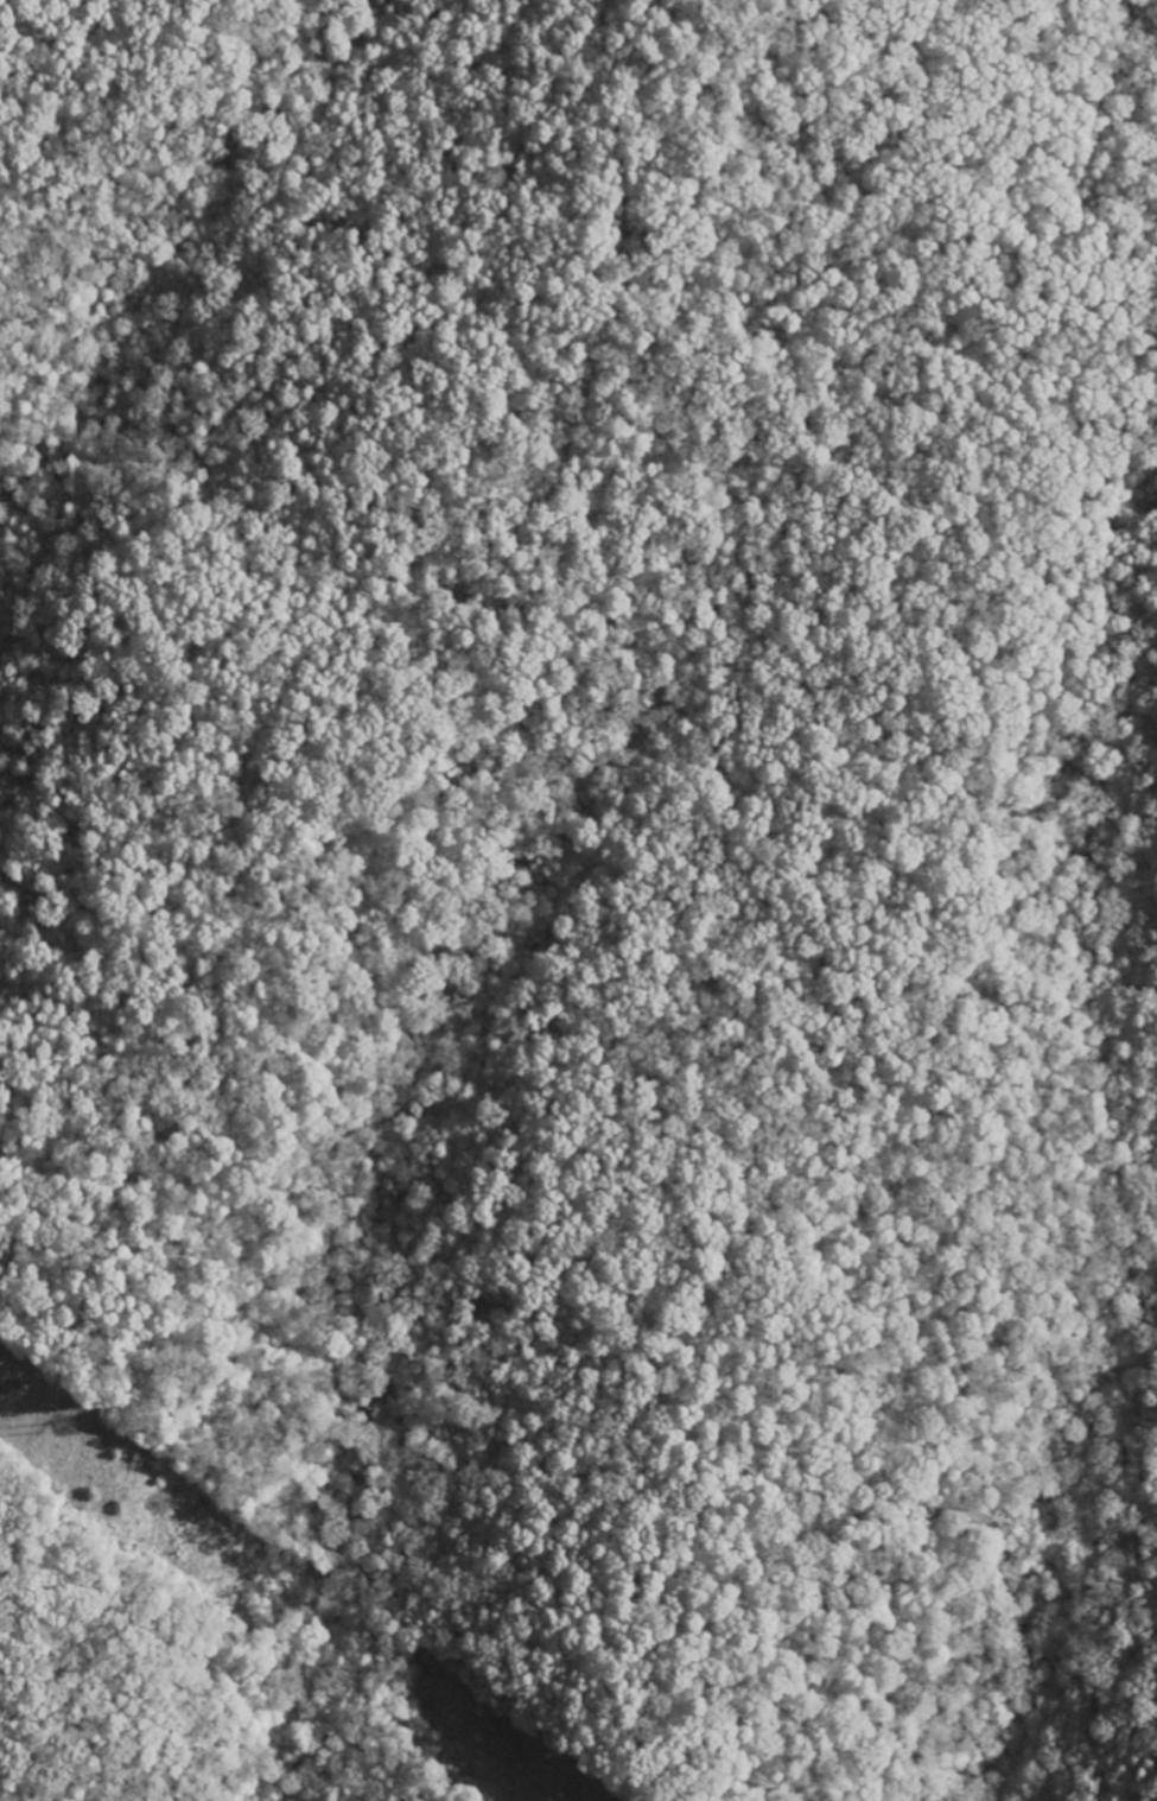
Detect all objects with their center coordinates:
power tower: (38, 1428)

